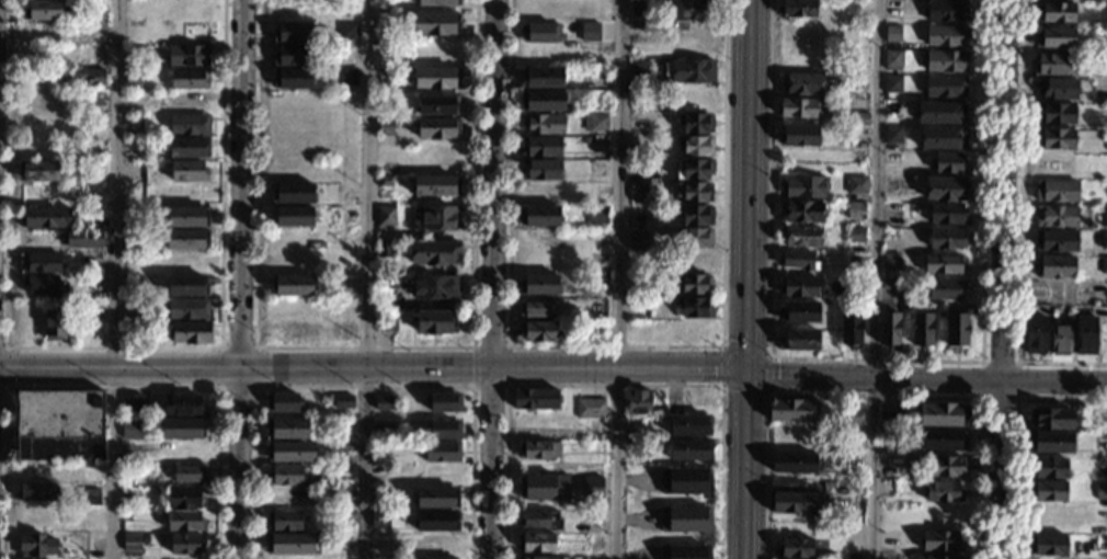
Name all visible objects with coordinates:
building: (438, 2)
building: (639, 8)
building: (797, 8)
building: (43, 10)
building: (692, 10)
building: (947, 11)
building: (1105, 12)
building: (1054, 13)
building: (435, 23)
building: (386, 25)
building: (346, 31)
building: (598, 31)
building: (550, 32)
building: (292, 33)
building: (892, 34)
building: (946, 36)
building: (1054, 38)
road: (493, 41)
building: (136, 55)
road: (244, 55)
building: (187, 56)
building: (292, 56)
building: (349, 56)
building: (892, 60)
building: (946, 61)
building: (1052, 65)
building: (639, 69)
building: (688, 70)
building: (87, 77)
building: (134, 77)
building: (343, 78)
building: (436, 78)
building: (543, 78)
building: (190, 79)
building: (292, 79)
building: (802, 84)
building: (892, 84)
building: (945, 87)
building: (1057, 89)
building: (543, 101)
building: (598, 102)
building: (437, 104)
building: (798, 109)
building: (941, 112)
building: (1055, 114)
building: (858, 118)
building: (594, 122)
building: (693, 123)
building: (543, 124)
building: (190, 125)
building: (386, 126)
building: (437, 128)
building: (893, 135)
building: (798, 136)
building: (941, 138)
building: (1055, 138)
road: (747, 139)
building: (600, 144)
building: (189, 147)
building: (540, 147)
building: (695, 147)
building: (892, 159)
building: (948, 163)
building: (694, 169)
building: (540, 170)
building: (189, 171)
building: (597, 171)
building: (38, 172)
building: (384, 181)
building: (435, 185)
building: (857, 185)
building: (803, 186)
building: (891, 186)
building: (947, 190)
building: (638, 191)
building: (1057, 191)
building: (693, 192)
building: (293, 193)
building: (856, 210)
building: (802, 212)
building: (947, 214)
building: (345, 215)
building: (539, 215)
building: (596, 215)
building: (187, 216)
building: (386, 216)
building: (697, 216)
building: (1055, 216)
building: (47, 217)
building: (292, 217)
building: (1103, 217)
building: (435, 218)
road: (1019, 225)
building: (856, 236)
building: (800, 237)
building: (695, 238)
building: (83, 239)
building: (186, 239)
building: (946, 239)
building: (1104, 240)
building: (1055, 241)
building: (636, 242)
building: (384, 249)
building: (434, 253)
building: (798, 261)
building: (39, 262)
building: (891, 262)
building: (187, 263)
building: (943, 264)
building: (1104, 265)
building: (1054, 266)
building: (858, 272)
road: (113, 278)
road: (616, 278)
road: (366, 279)
road: (876, 279)
road: (1003, 279)
building: (694, 284)
building: (891, 284)
building: (41, 285)
building: (187, 285)
building: (538, 285)
building: (292, 286)
building: (798, 286)
building: (434, 287)
building: (856, 289)
building: (946, 289)
building: (693, 307)
building: (536, 308)
building: (187, 309)
building: (801, 312)
road: (491, 319)
building: (435, 321)
building: (387, 322)
road: (746, 323)
building: (54, 324)
building: (922, 329)
building: (852, 330)
building: (889, 330)
building: (537, 331)
building: (956, 331)
building: (191, 333)
road: (238, 333)
building: (1035, 334)
building: (1085, 335)
building: (798, 340)
building: (1060, 340)
road: (723, 344)
road: (614, 345)
road: (112, 346)
road: (363, 346)
road: (879, 358)
road: (507, 365)
road: (5, 366)
road: (472, 366)
road: (373, 368)
traffic signals: (746, 368)
road: (926, 378)
road: (616, 384)
road: (255, 386)
road: (364, 386)
road: (112, 387)
road: (769, 390)
road: (872, 393)
road: (1017, 397)
building: (344, 398)
building: (534, 399)
building: (283, 400)
building: (444, 400)
building: (130, 401)
building: (385, 401)
building: (638, 402)
building: (183, 406)
building: (590, 408)
building: (794, 409)
building: (853, 415)
building: (943, 415)
building: (891, 419)
building: (1053, 419)
road: (745, 423)
building: (59, 425)
building: (691, 425)
building: (134, 426)
building: (445, 427)
building: (183, 429)
building: (287, 429)
road: (1017, 433)
building: (938, 440)
building: (1049, 442)
building: (538, 450)
building: (691, 450)
building: (290, 452)
building: (443, 452)
building: (792, 464)
building: (945, 466)
building: (1049, 469)
building: (189, 474)
building: (285, 475)
building: (687, 479)
building: (594, 484)
building: (545, 486)
building: (945, 491)
building: (1048, 491)
building: (1100, 491)
building: (37, 492)
building: (91, 497)
building: (130, 497)
building: (184, 498)
building: (436, 498)
building: (789, 498)
building: (686, 517)
road: (744, 518)
building: (540, 520)
building: (284, 521)
building: (379, 521)
building: (437, 521)
building: (184, 522)
building: (941, 541)
building: (132, 543)
building: (535, 543)
building: (184, 544)
building: (294, 544)
building: (1049, 545)
building: (36, 546)
building: (796, 548)
building: (685, 551)
building: (437, 558)
building: (532, 558)
building: (941, 558)

